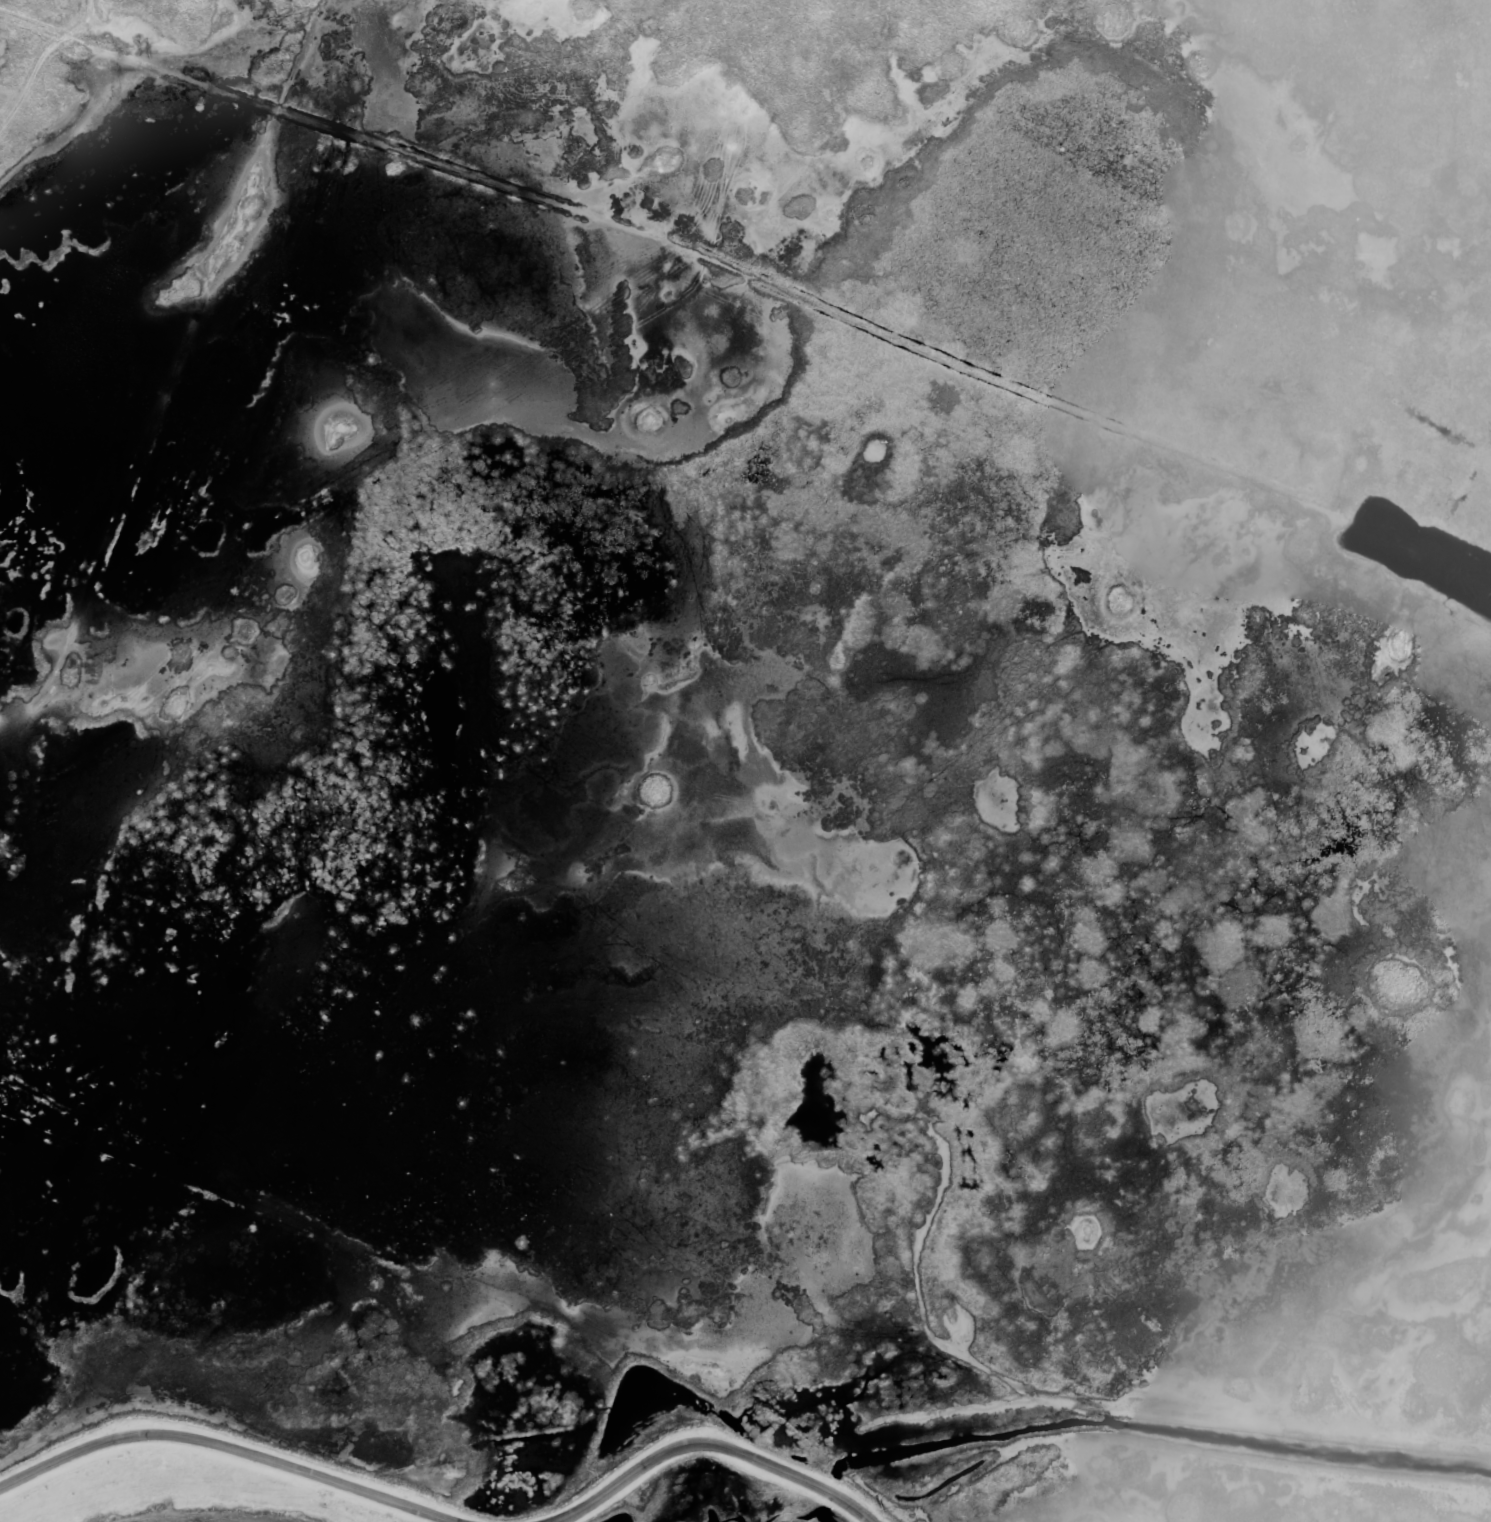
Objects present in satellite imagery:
road: (709, 1446)
road: (224, 1449)

